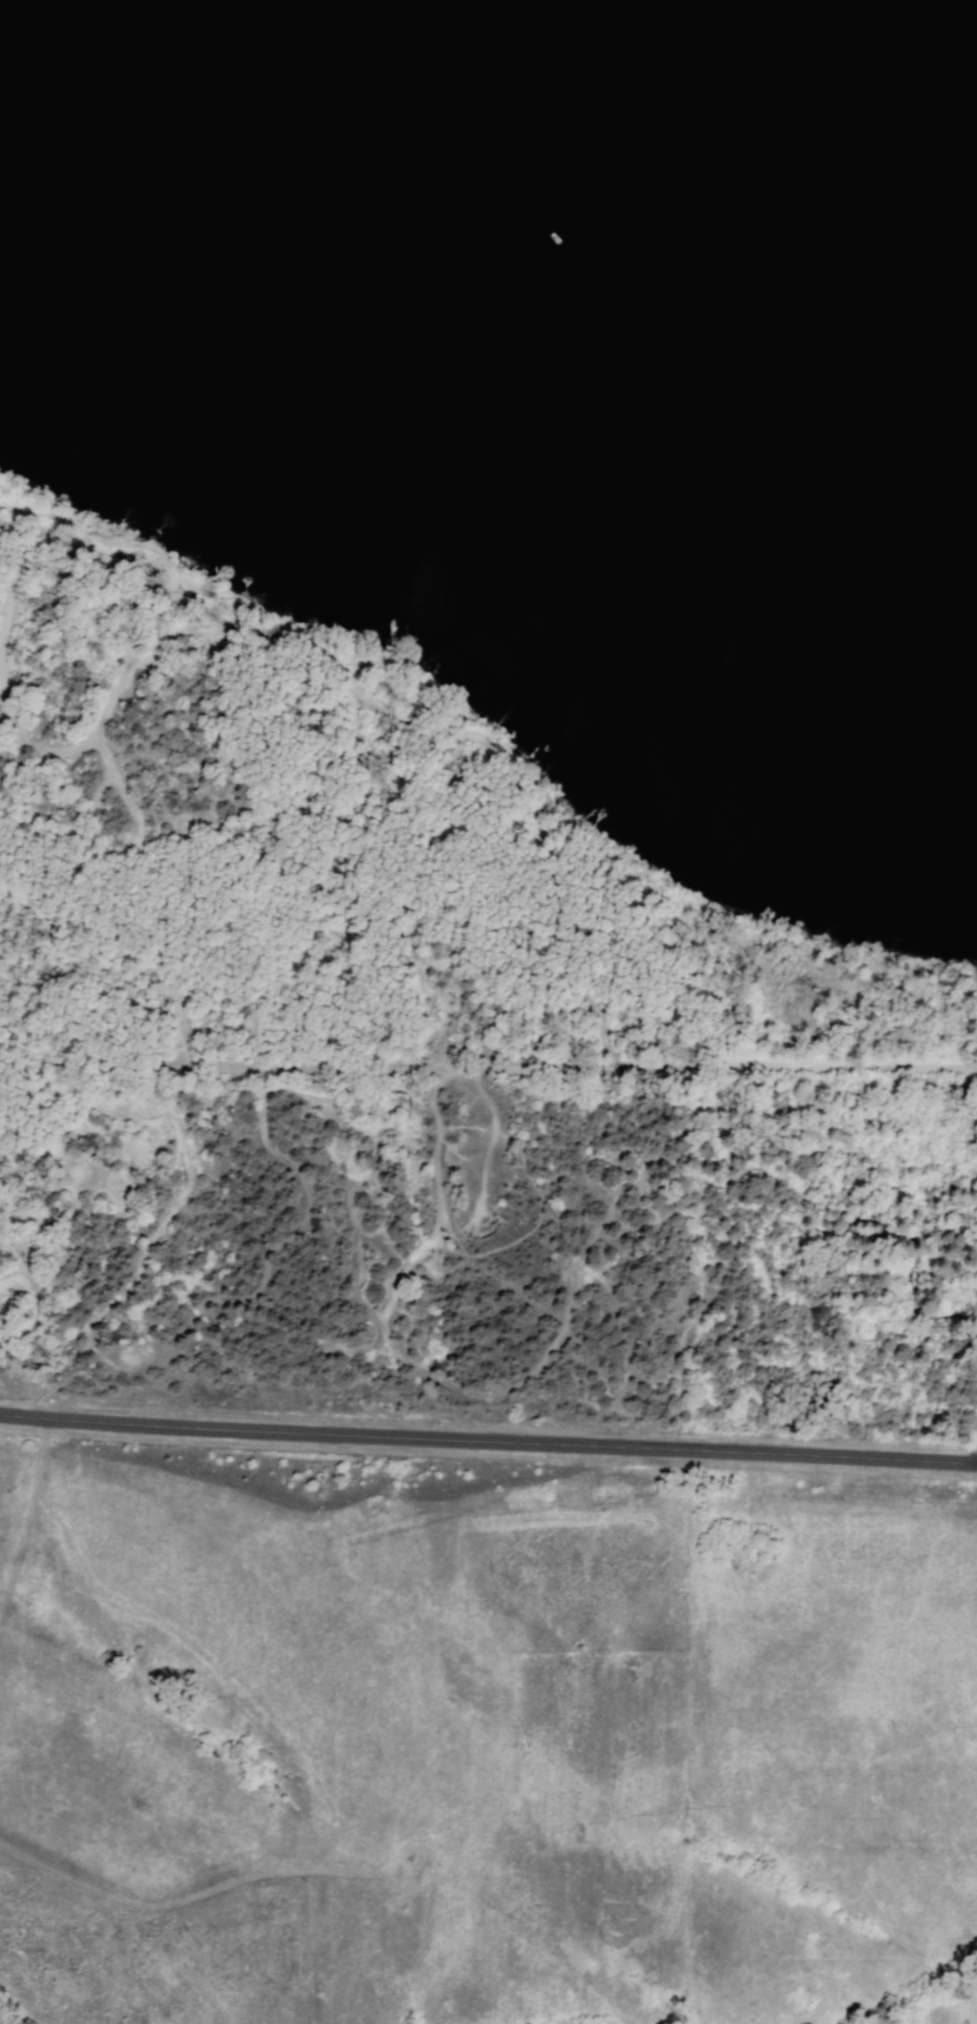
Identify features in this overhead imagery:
road: (168, 570)
road: (11, 577)
park: (491, 716)
road: (338, 811)
road: (538, 828)
road: (157, 920)
road: (488, 1065)
road: (352, 1219)
road: (599, 1231)
road: (33, 1301)
road: (488, 1432)
parking lot: (976, 1432)

